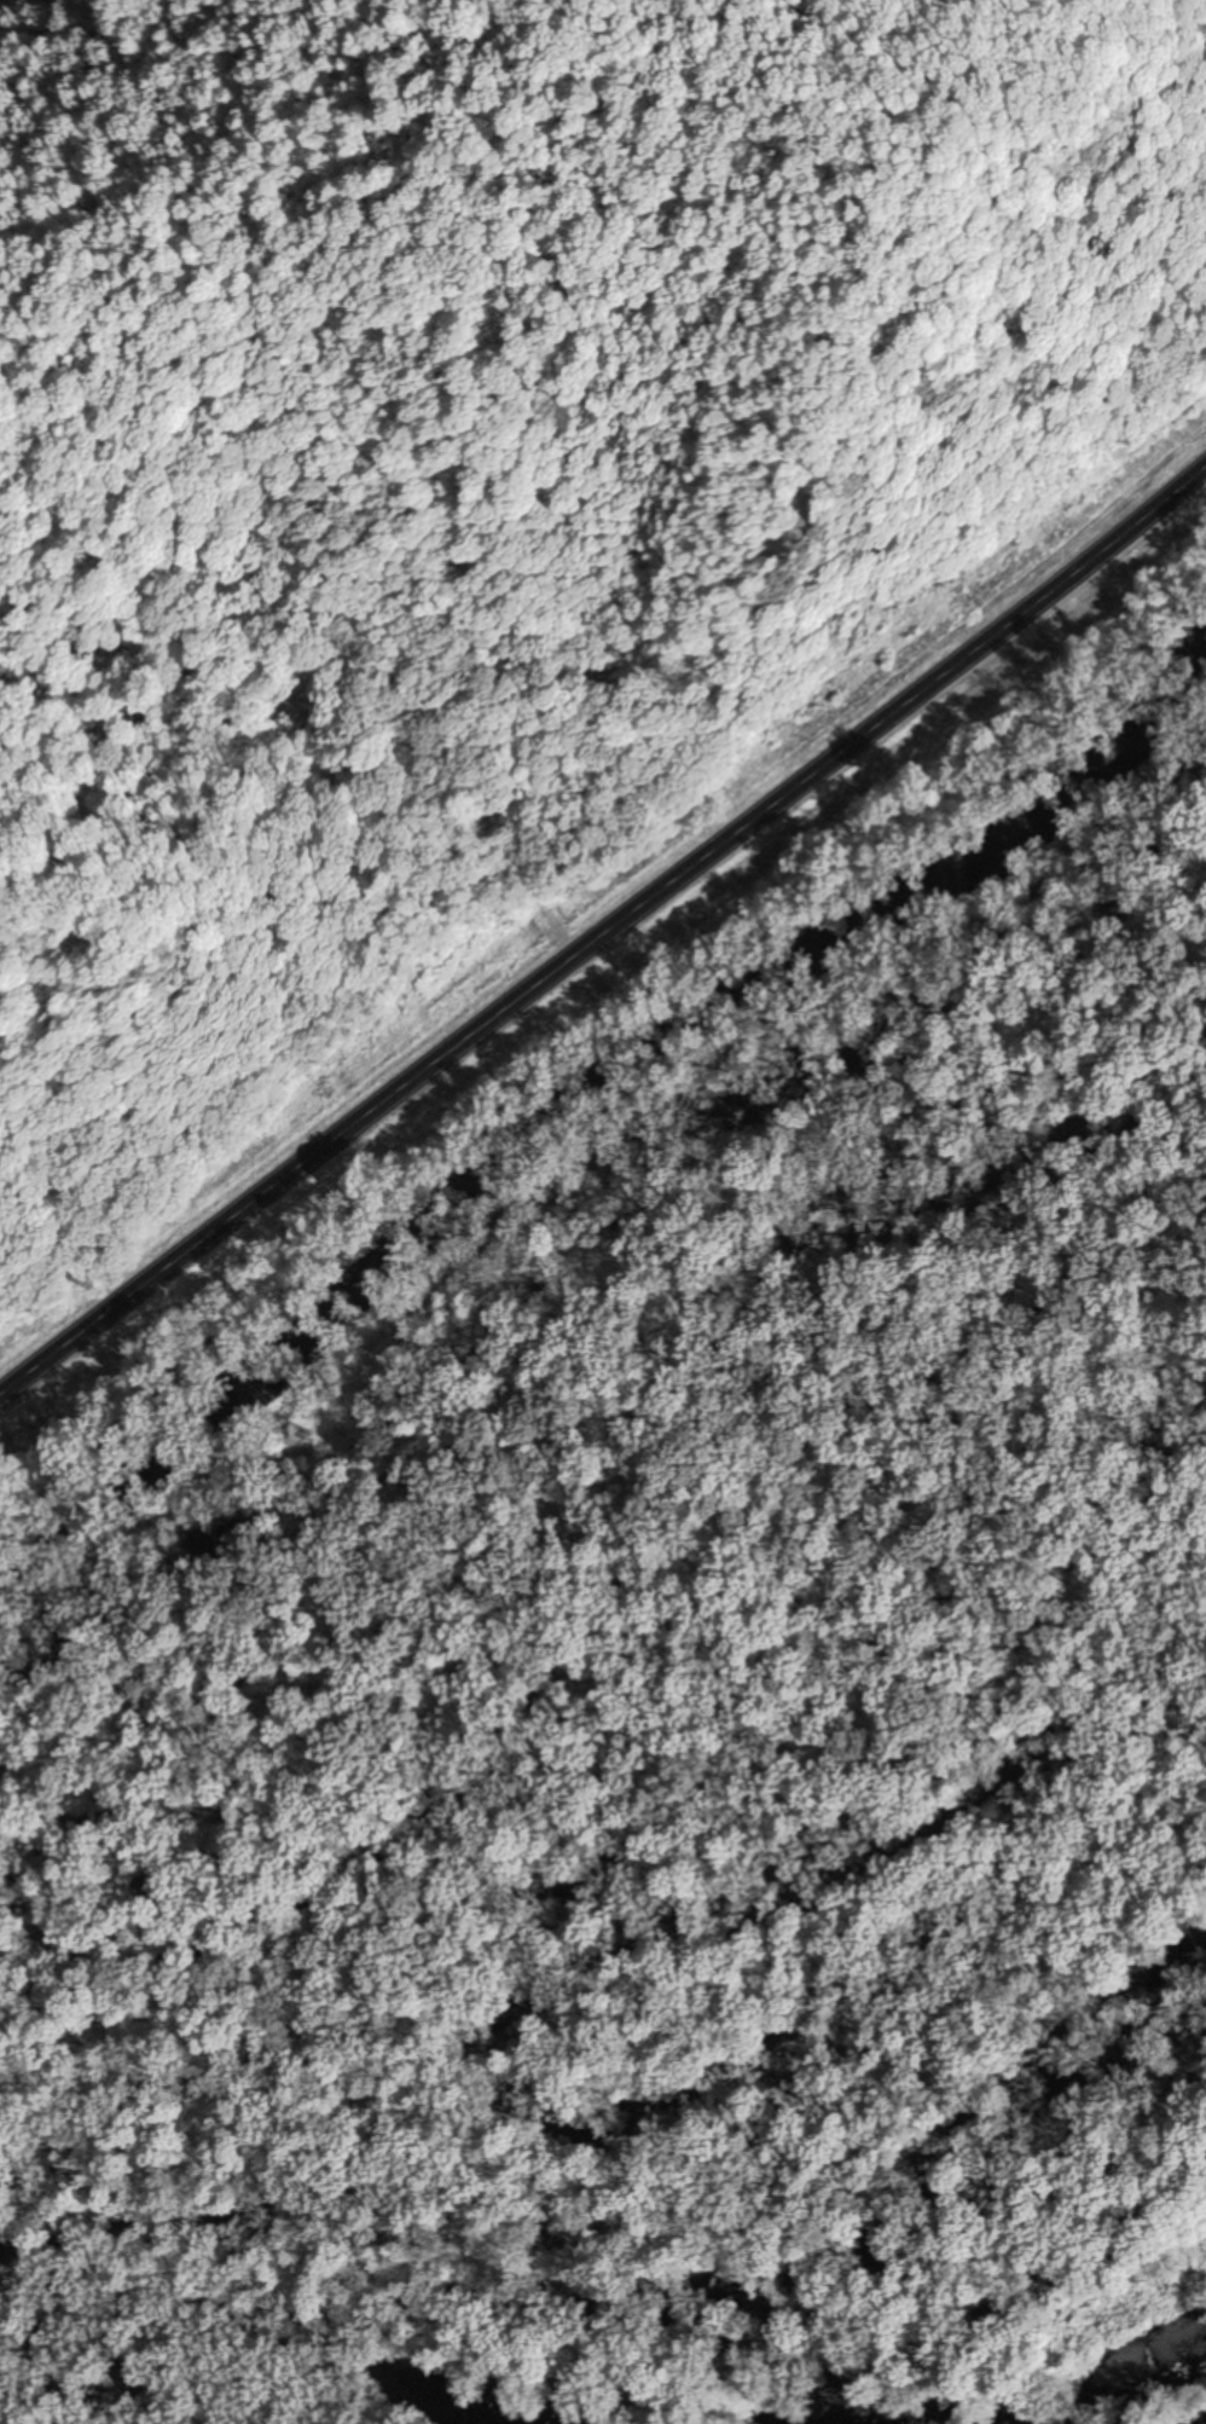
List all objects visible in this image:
road: (603, 931)

